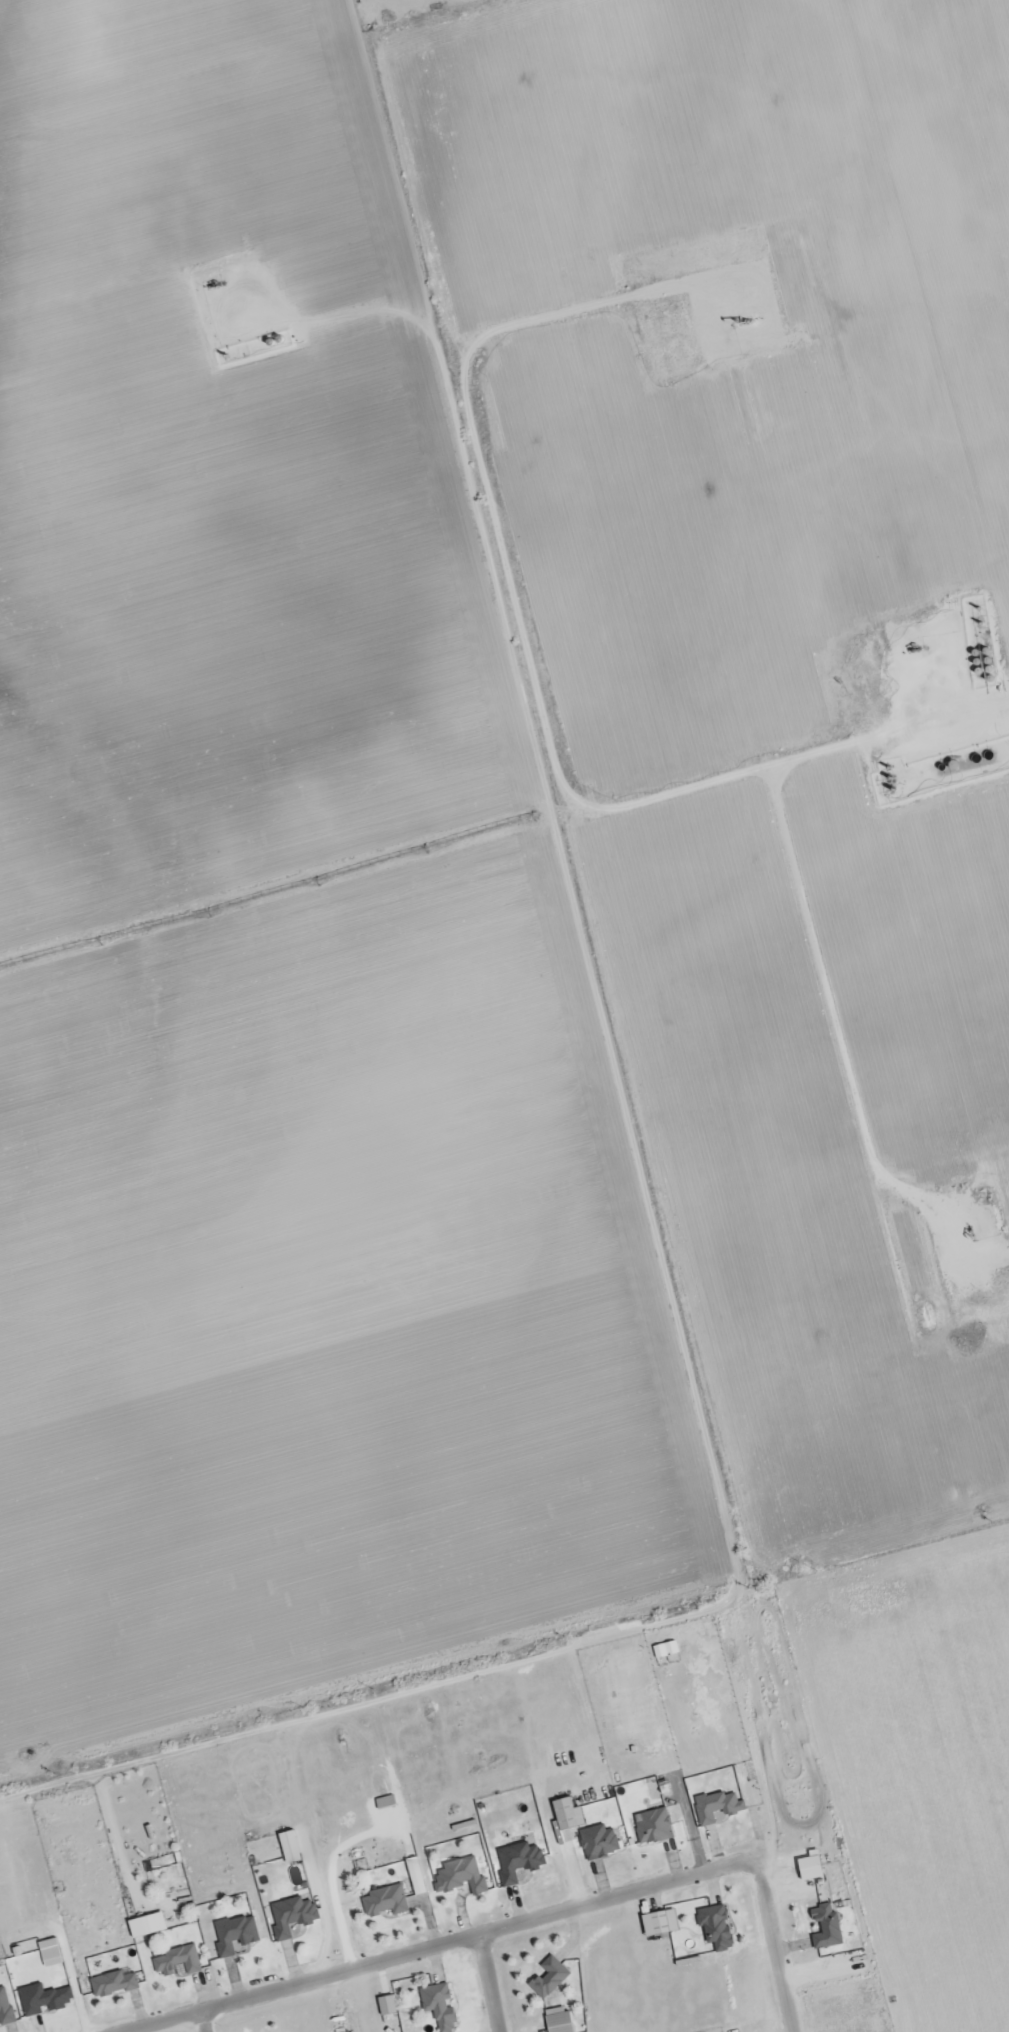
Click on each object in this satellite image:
crop: (273, 975)
road: (356, 1713)
road: (435, 1944)
road: (777, 1946)
road: (489, 1982)
building: (111, 1985)
building: (437, 2006)
building: (4, 2009)
road: (204, 2021)

